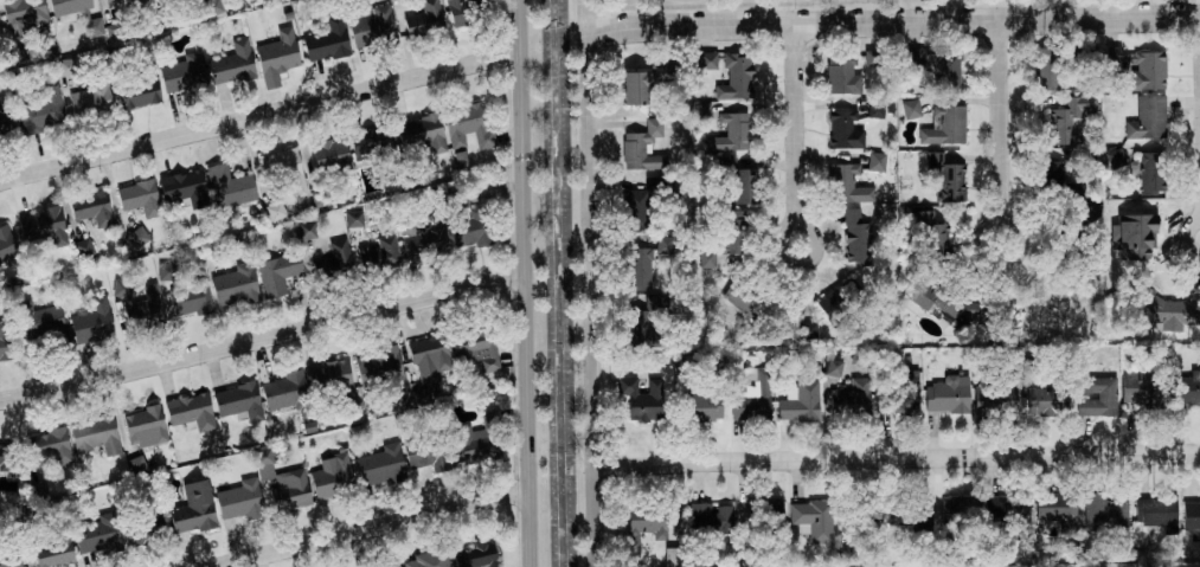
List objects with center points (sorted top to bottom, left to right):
building: (108, 0)
building: (136, 1)
street lamp: (1150, 1)
building: (69, 5)
building: (212, 7)
street lamp: (794, 7)
road: (1111, 8)
road: (958, 9)
park: (862, 11)
road: (869, 11)
building: (461, 12)
road: (588, 12)
building: (20, 18)
building: (425, 19)
road: (583, 20)
road: (893, 21)
building: (95, 26)
building: (372, 27)
building: (115, 31)
building: (327, 41)
building: (277, 57)
building: (915, 57)
building: (873, 58)
building: (708, 60)
building: (232, 64)
building: (66, 66)
building: (1046, 67)
building: (1147, 70)
building: (665, 71)
building: (948, 72)
building: (184, 73)
building: (843, 76)
building: (736, 77)
building: (636, 88)
building: (140, 92)
building: (91, 101)
building: (877, 109)
building: (911, 109)
building: (702, 111)
building: (31, 112)
road: (261, 116)
building: (1070, 117)
building: (1148, 118)
building: (945, 125)
building: (468, 127)
building: (845, 130)
road: (1003, 130)
building: (422, 133)
building: (733, 134)
road: (798, 135)
building: (372, 140)
building: (643, 148)
building: (329, 153)
building: (1114, 159)
building: (877, 161)
building: (285, 168)
building: (1055, 173)
building: (1151, 173)
building: (946, 178)
building: (849, 183)
building: (747, 186)
building: (185, 187)
building: (230, 187)
building: (140, 198)
building: (641, 207)
building: (92, 208)
building: (275, 211)
building: (354, 219)
building: (480, 223)
building: (41, 224)
building: (308, 230)
building: (933, 232)
building: (137, 237)
building: (421, 237)
building: (858, 238)
building: (7, 246)
building: (83, 247)
building: (725, 247)
building: (381, 252)
building: (340, 253)
building: (640, 269)
building: (278, 272)
road: (526, 283)
building: (236, 286)
road: (592, 297)
building: (198, 301)
building: (139, 304)
building: (838, 304)
building: (949, 304)
building: (40, 321)
building: (94, 321)
building: (644, 321)
road: (263, 339)
building: (5, 341)
building: (476, 348)
building: (430, 357)
building: (686, 367)
building: (833, 367)
building: (381, 369)
building: (329, 374)
building: (1188, 385)
building: (1141, 388)
building: (284, 391)
building: (906, 392)
building: (949, 394)
building: (421, 395)
building: (753, 395)
building: (1097, 397)
building: (852, 398)
building: (642, 399)
building: (994, 399)
building: (1047, 400)
building: (239, 401)
building: (801, 401)
building: (702, 407)
building: (192, 412)
building: (146, 426)
building: (96, 434)
building: (481, 439)
building: (51, 445)
building: (428, 451)
building: (6, 456)
road: (896, 457)
building: (264, 464)
building: (383, 465)
building: (332, 476)
building: (290, 489)
building: (240, 500)
building: (194, 509)
building: (1058, 509)
building: (909, 510)
building: (1157, 513)
building: (1019, 514)
building: (1106, 514)
building: (711, 517)
building: (814, 518)
building: (1192, 518)
building: (648, 522)
road: (372, 529)
building: (97, 534)
building: (56, 549)
building: (476, 555)
building: (673, 556)
building: (9, 558)
building: (428, 560)
building: (397, 566)

